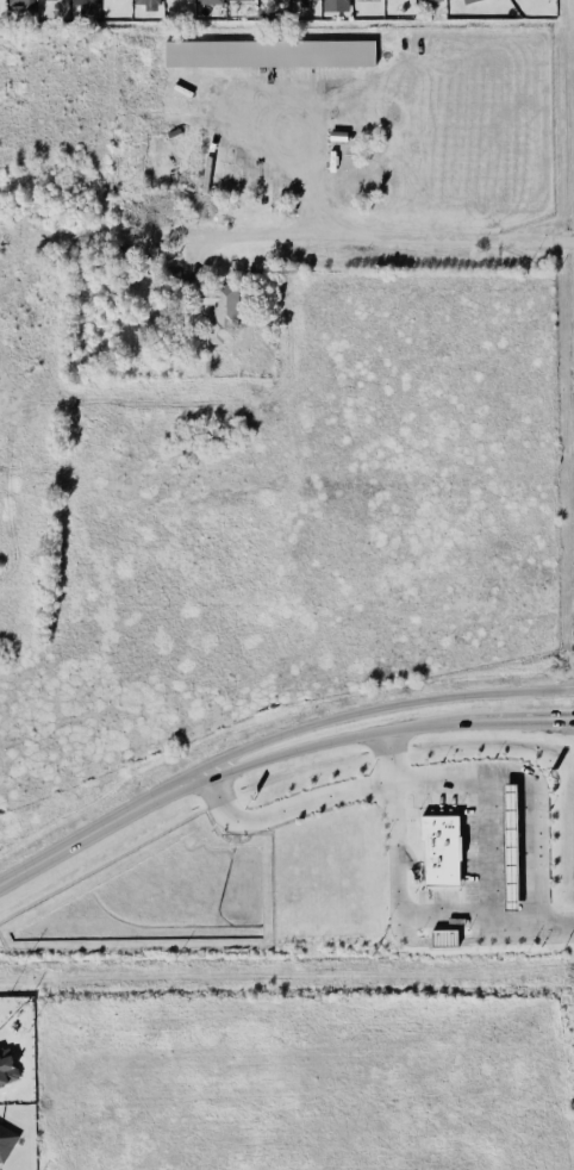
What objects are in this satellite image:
building: (232, 0)
building: (300, 0)
building: (429, 0)
building: (148, 1)
building: (210, 1)
building: (467, 1)
building: (24, 4)
building: (336, 5)
building: (86, 6)
building: (269, 52)
road: (308, 173)
road: (389, 234)
building: (218, 306)
crop: (263, 381)
road: (320, 723)
road: (529, 728)
road: (467, 729)
road: (310, 748)
road: (392, 759)
road: (454, 776)
road: (532, 827)
road: (42, 838)
building: (510, 847)
gas station: (510, 847)
building: (439, 848)
road: (87, 850)
road: (397, 892)
building: (444, 938)
building: (7, 1068)
building: (6, 1140)

